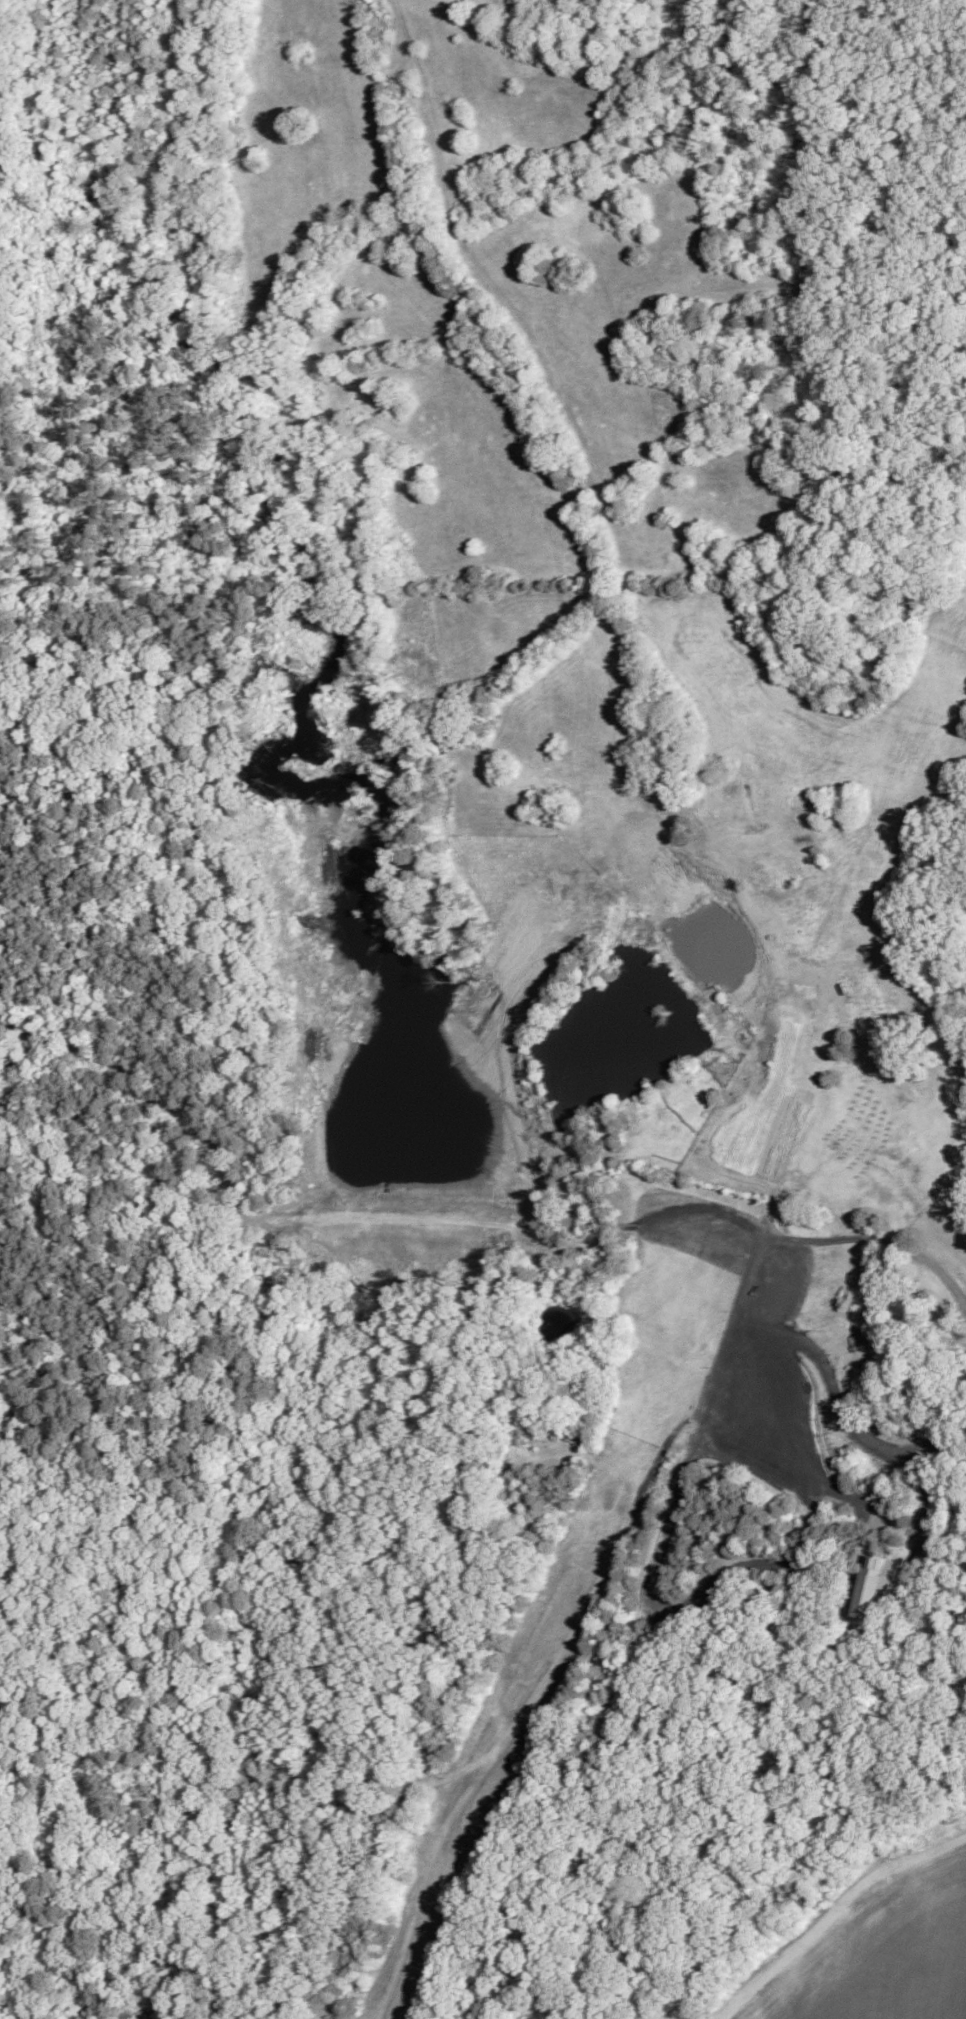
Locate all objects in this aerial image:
building: (875, 1582)
road: (917, 1972)

